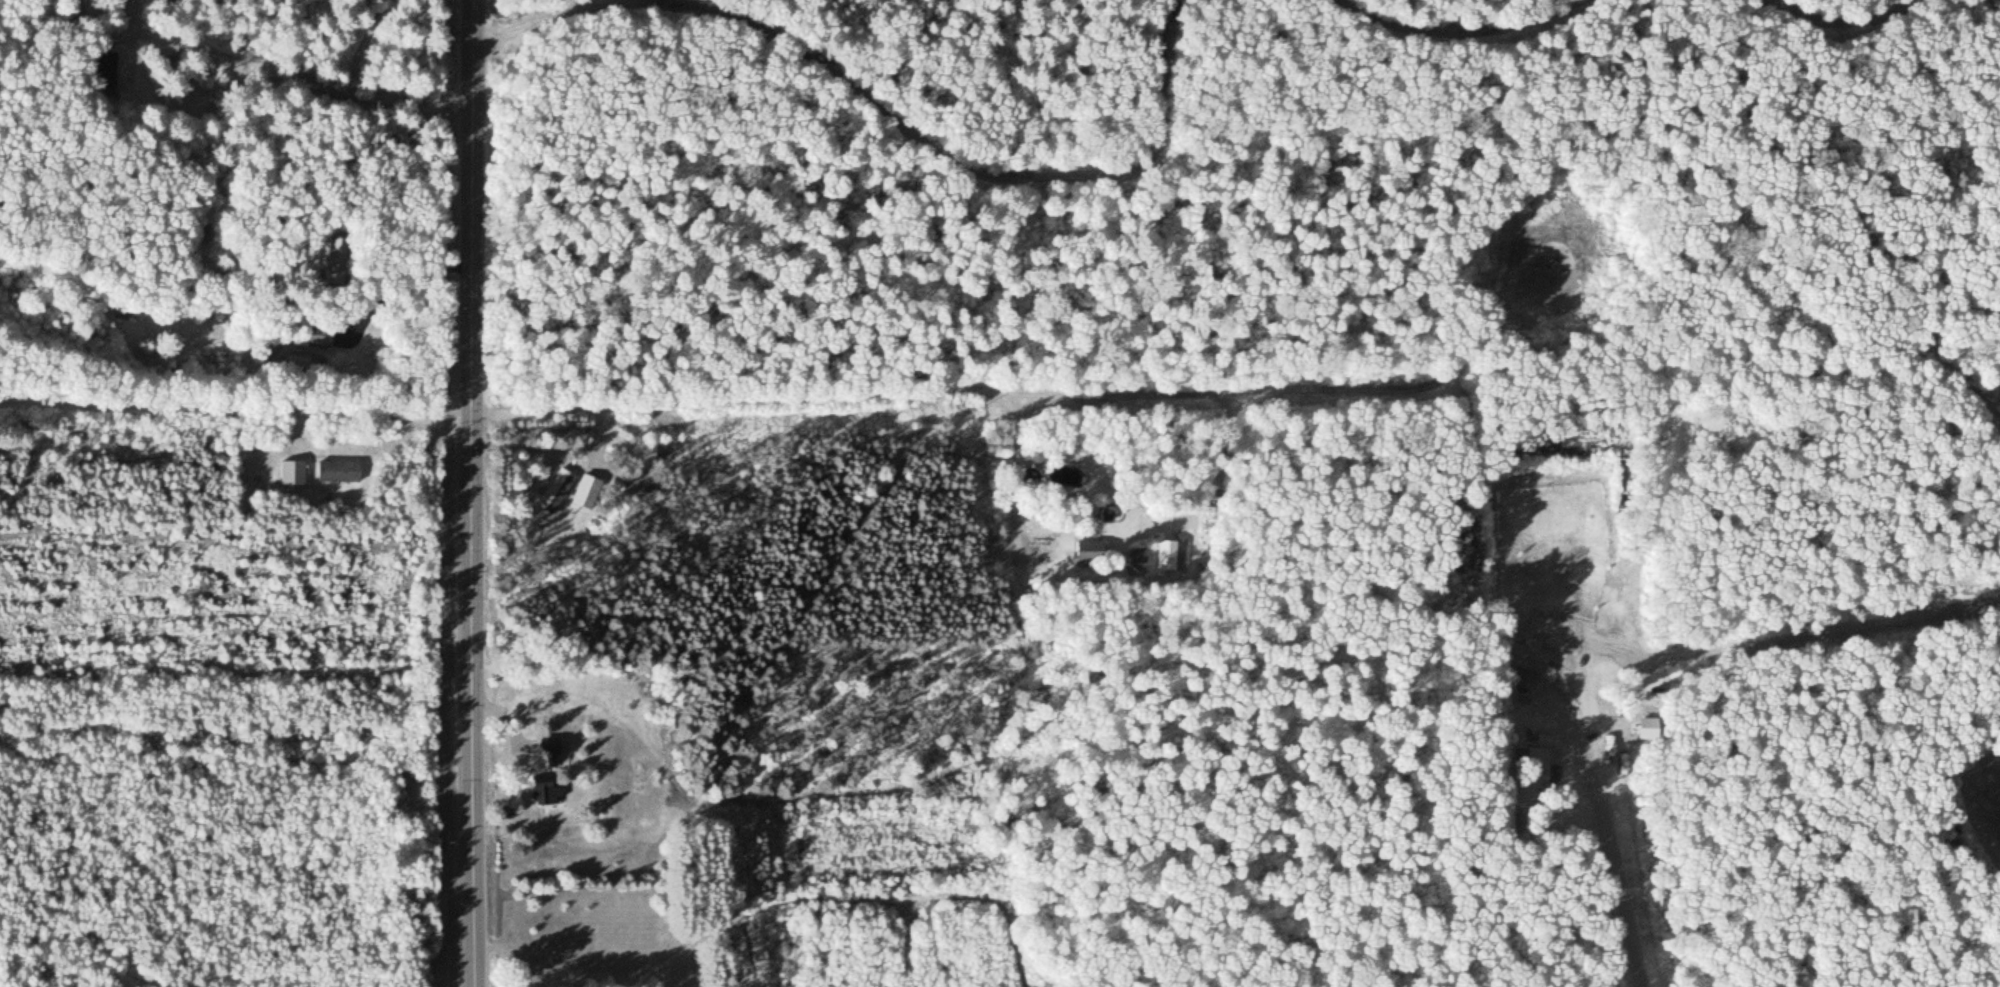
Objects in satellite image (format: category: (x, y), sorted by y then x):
road: (1455, 19)
road: (1848, 26)
building: (104, 69)
road: (896, 124)
road: (1955, 214)
building: (320, 331)
road: (639, 365)
road: (1876, 458)
building: (336, 470)
building: (291, 472)
building: (556, 489)
building: (586, 490)
road: (469, 493)
building: (1086, 549)
building: (1137, 554)
building: (1169, 554)
building: (1525, 657)
building: (548, 751)
building: (544, 790)

